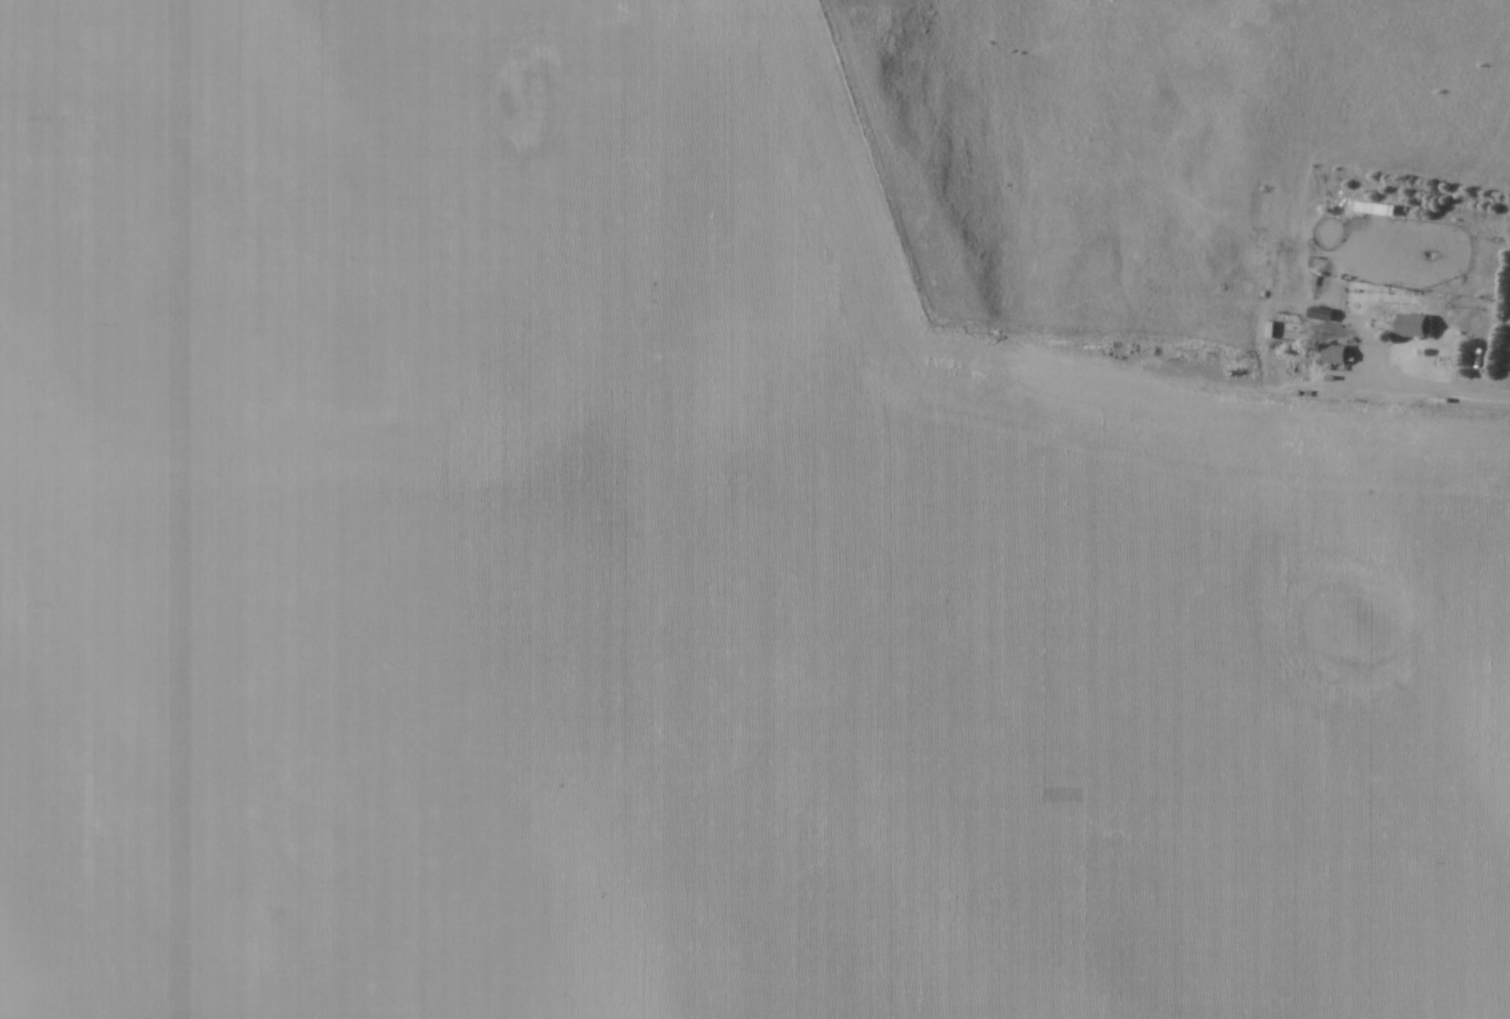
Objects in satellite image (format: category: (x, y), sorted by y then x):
building: (1324, 314)
building: (1418, 326)
building: (1339, 355)

